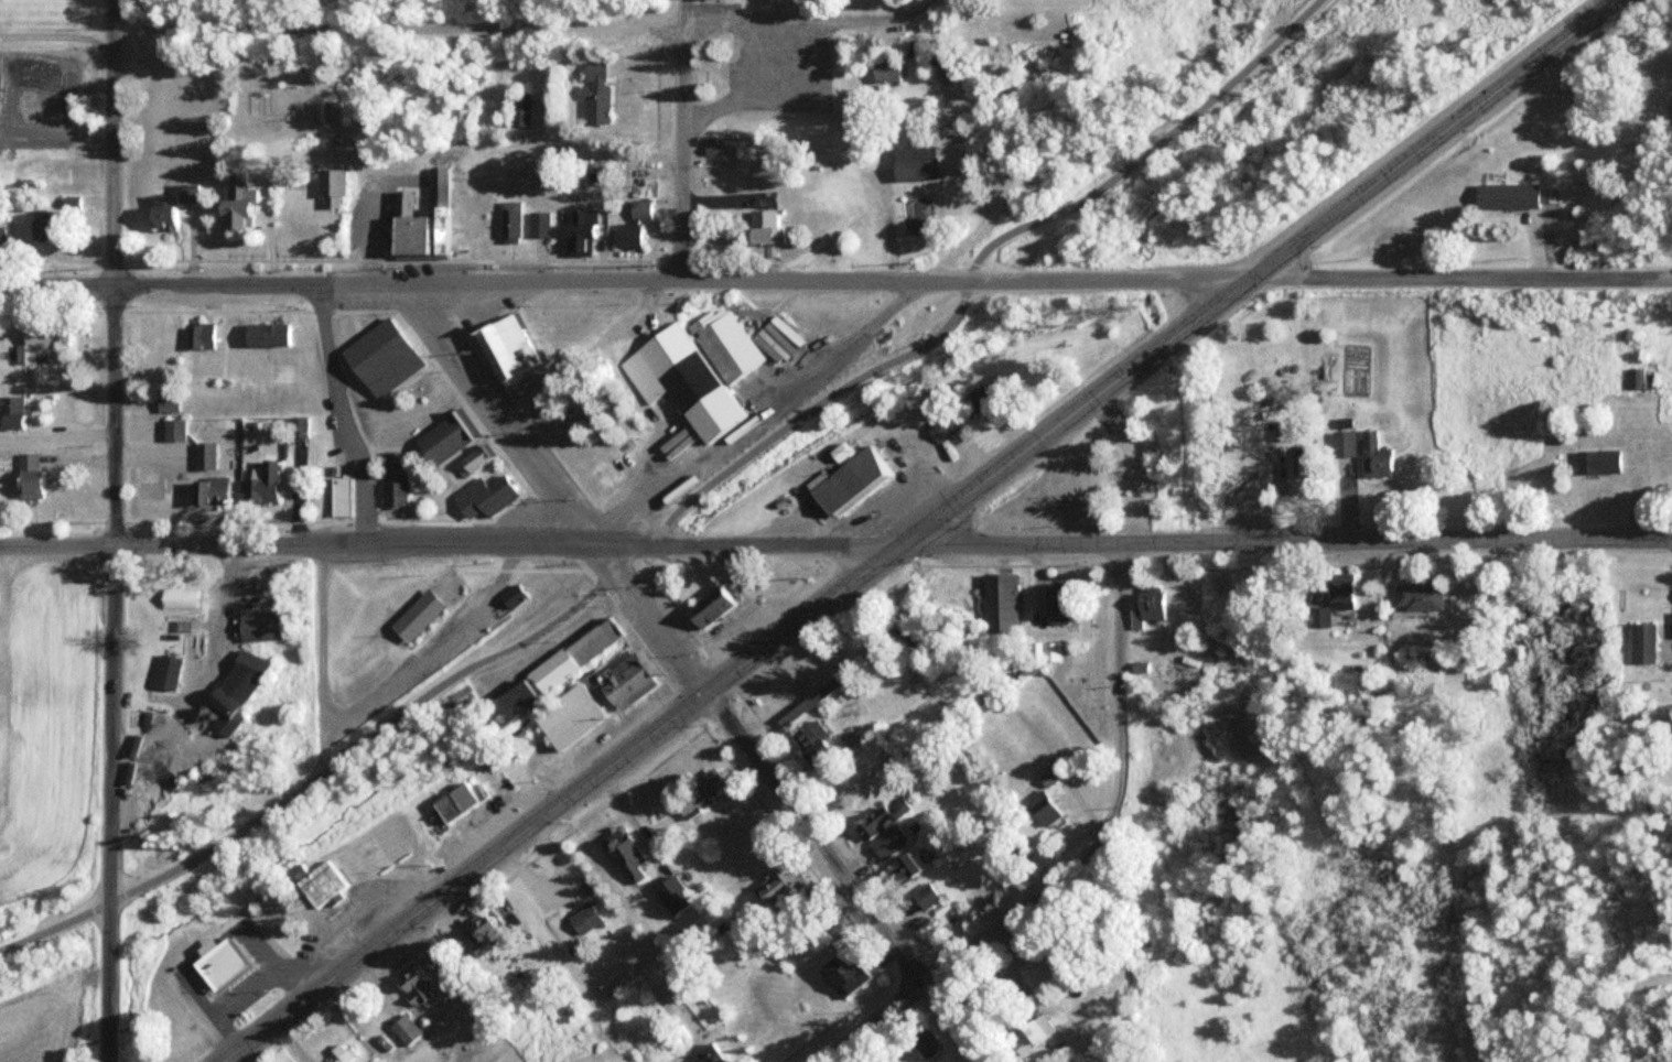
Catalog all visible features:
road: (928, 1)
road: (681, 12)
road: (806, 20)
road: (397, 24)
building: (885, 69)
building: (594, 93)
building: (520, 109)
building: (332, 112)
building: (459, 122)
road: (679, 152)
building: (913, 162)
building: (331, 185)
building: (1518, 194)
building: (235, 202)
building: (72, 203)
building: (639, 208)
building: (509, 221)
building: (419, 223)
building: (538, 224)
building: (759, 224)
building: (41, 226)
building: (4, 228)
building: (578, 234)
building: (625, 235)
road: (110, 271)
road: (1254, 272)
road: (1460, 278)
road: (828, 281)
road: (203, 284)
building: (266, 334)
building: (197, 335)
building: (41, 339)
building: (729, 345)
building: (503, 347)
road: (591, 356)
building: (380, 358)
building: (1640, 378)
building: (678, 380)
building: (982, 394)
building: (165, 403)
building: (10, 411)
road: (349, 413)
road: (498, 415)
building: (1345, 422)
building: (299, 426)
building: (940, 426)
building: (172, 430)
building: (444, 437)
building: (1345, 443)
building: (203, 455)
building: (1377, 456)
building: (473, 460)
building: (1599, 462)
building: (1306, 466)
building: (26, 476)
building: (393, 478)
building: (846, 479)
building: (262, 483)
building: (207, 490)
building: (338, 496)
building: (479, 496)
road: (682, 506)
road: (56, 542)
road: (1284, 542)
road: (506, 544)
building: (510, 596)
building: (1418, 596)
building: (177, 598)
building: (1334, 599)
building: (1056, 604)
building: (708, 606)
building: (1146, 606)
building: (1000, 607)
building: (414, 615)
building: (257, 626)
building: (898, 628)
building: (1643, 642)
building: (1047, 651)
building: (575, 654)
building: (246, 667)
building: (164, 672)
road: (204, 680)
building: (627, 680)
building: (223, 696)
road: (370, 701)
building: (508, 702)
building: (568, 717)
building: (808, 734)
building: (852, 736)
building: (1050, 772)
building: (700, 792)
road: (109, 801)
road: (560, 801)
road: (791, 801)
building: (452, 802)
building: (1040, 809)
building: (883, 817)
building: (889, 842)
building: (624, 854)
road: (1075, 860)
building: (908, 863)
building: (321, 885)
building: (779, 886)
building: (673, 893)
building: (926, 896)
building: (584, 920)
building: (483, 939)
building: (217, 965)
building: (1034, 971)
building: (845, 972)
building: (412, 987)
building: (404, 1029)
building: (1031, 1033)
building: (926, 1043)
building: (710, 1054)
building: (337, 1055)

